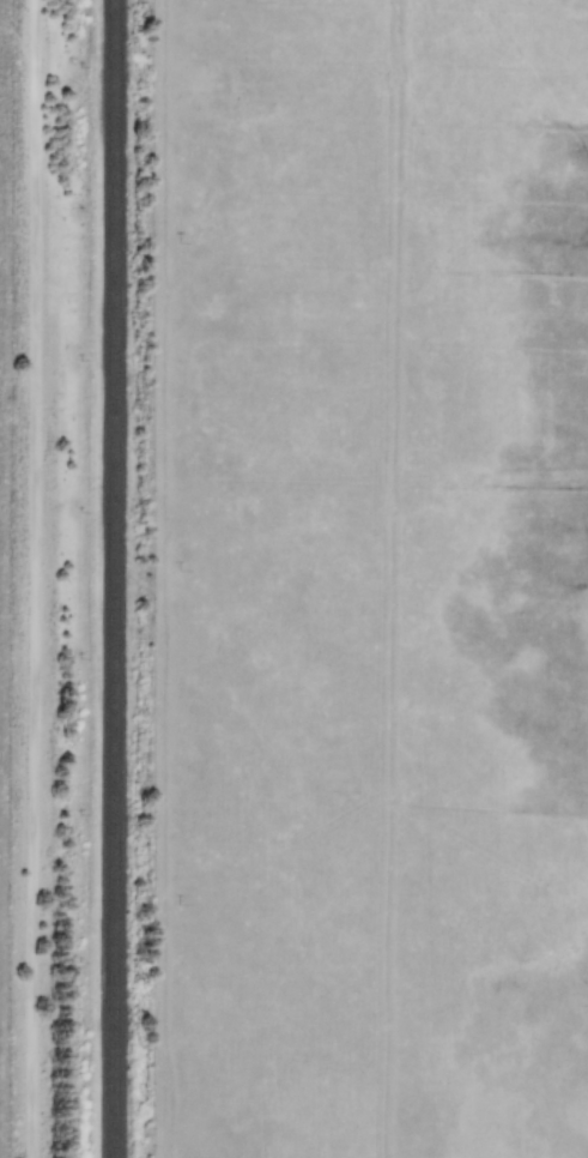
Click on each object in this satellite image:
road: (30, 579)
railway: (109, 579)

